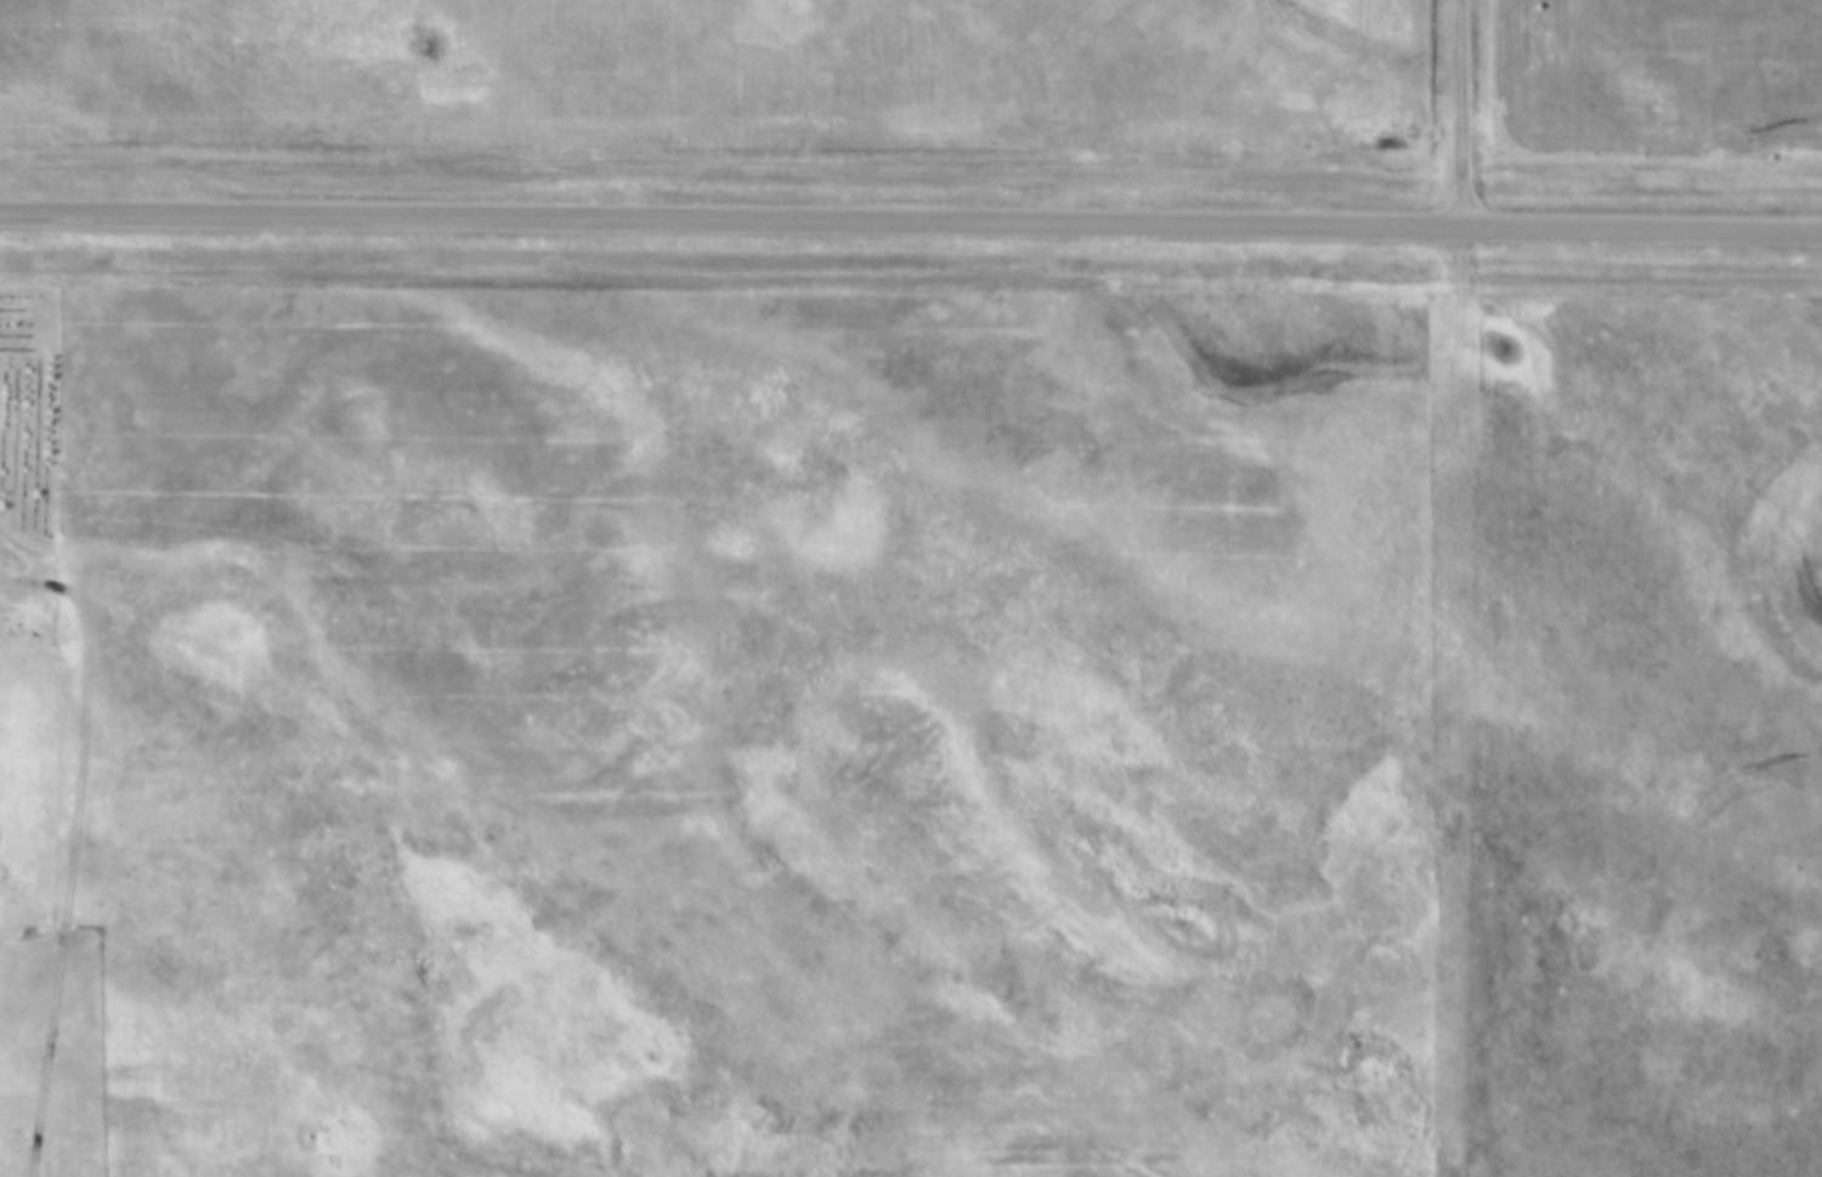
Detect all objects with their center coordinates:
road: (1461, 109)
power tower: (1744, 132)
road: (911, 214)
power tower: (1744, 765)

